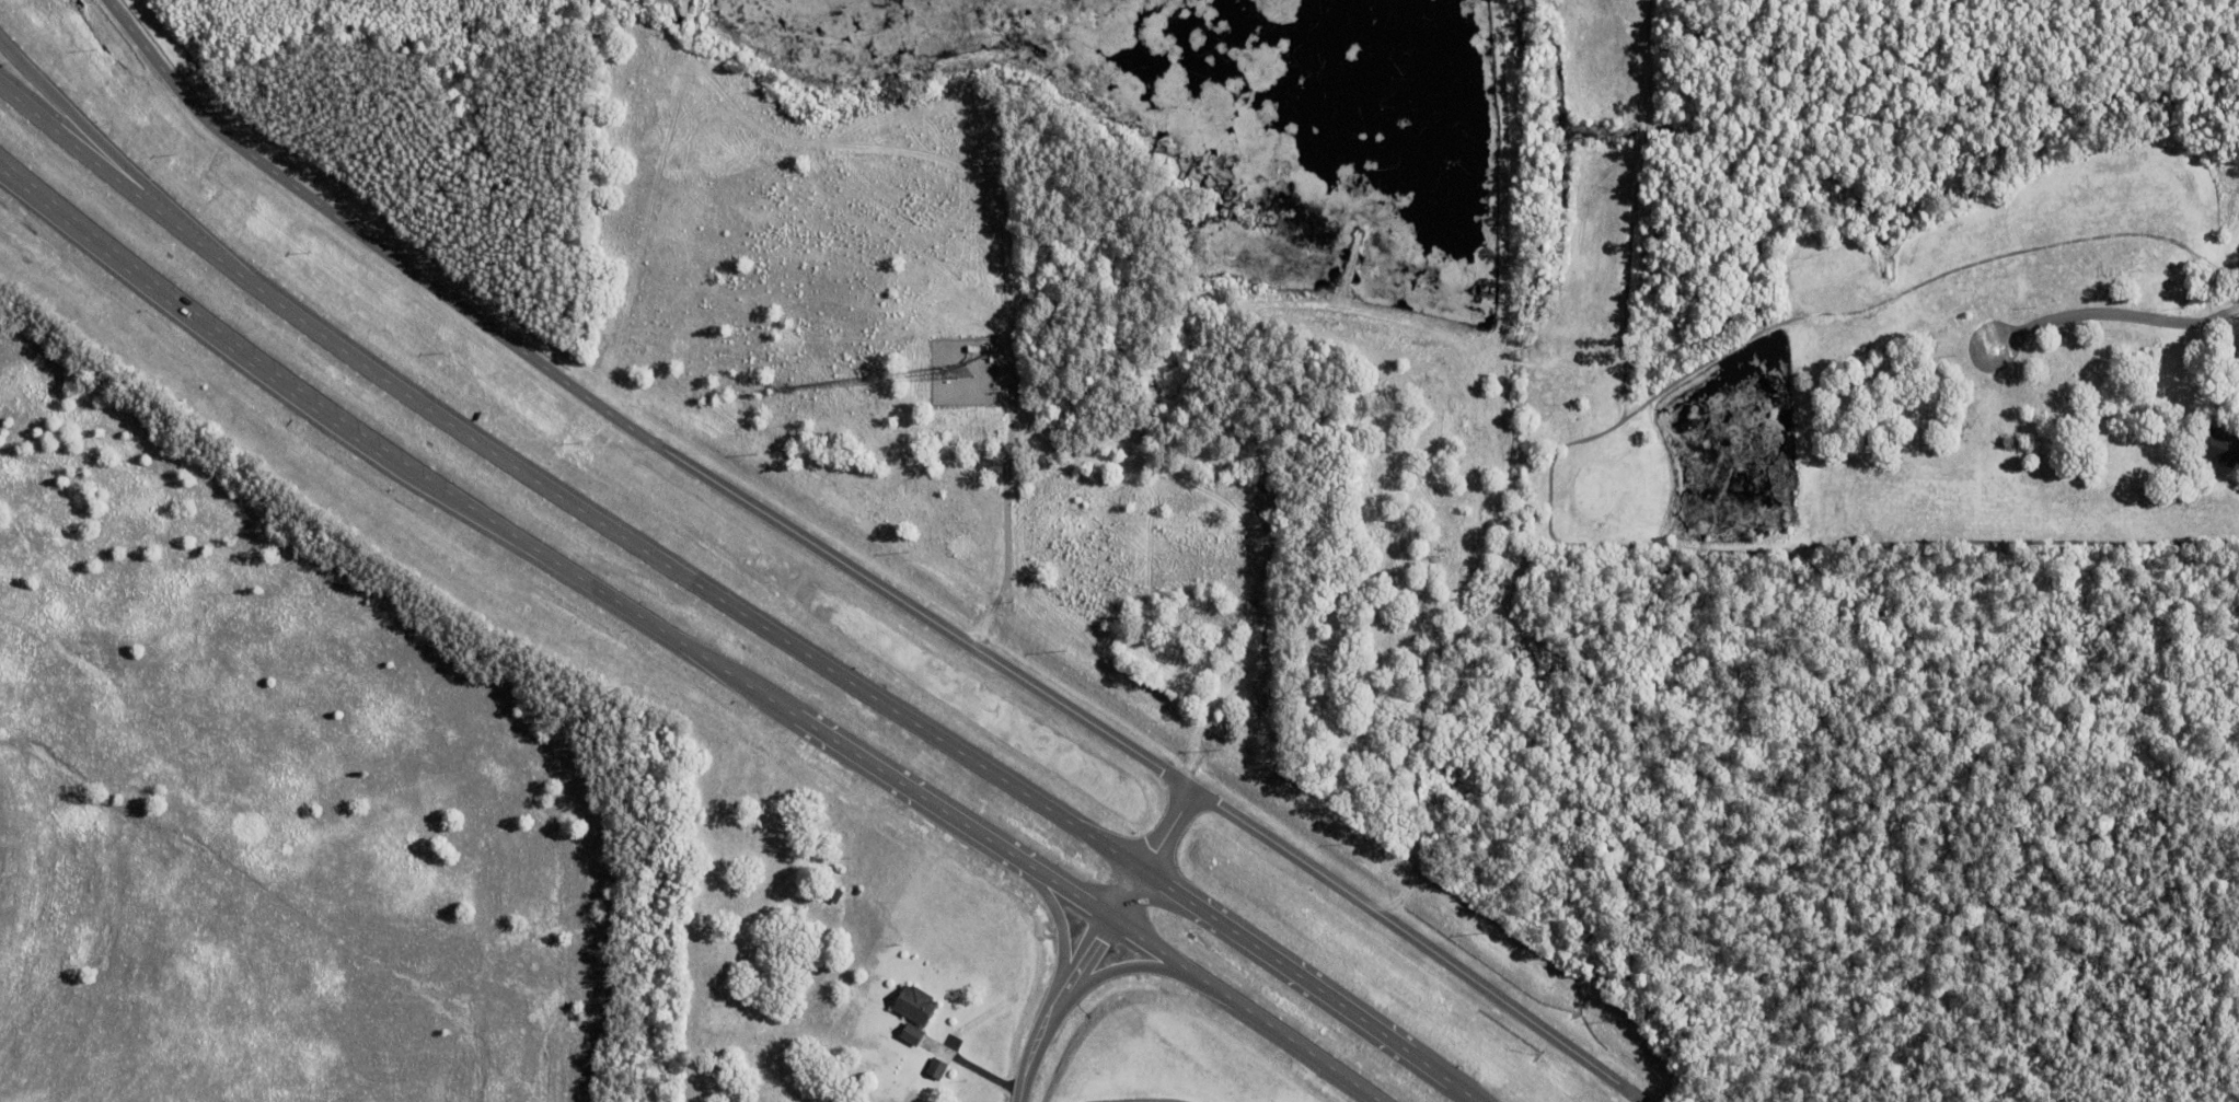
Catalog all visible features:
road: (74, 119)
road: (14, 175)
road: (2114, 323)
park: (1943, 376)
building: (2217, 445)
road: (854, 572)
road: (728, 606)
road: (679, 642)
building: (823, 870)
building: (826, 893)
road: (1097, 942)
building: (743, 956)
building: (914, 1010)
building: (936, 1067)

